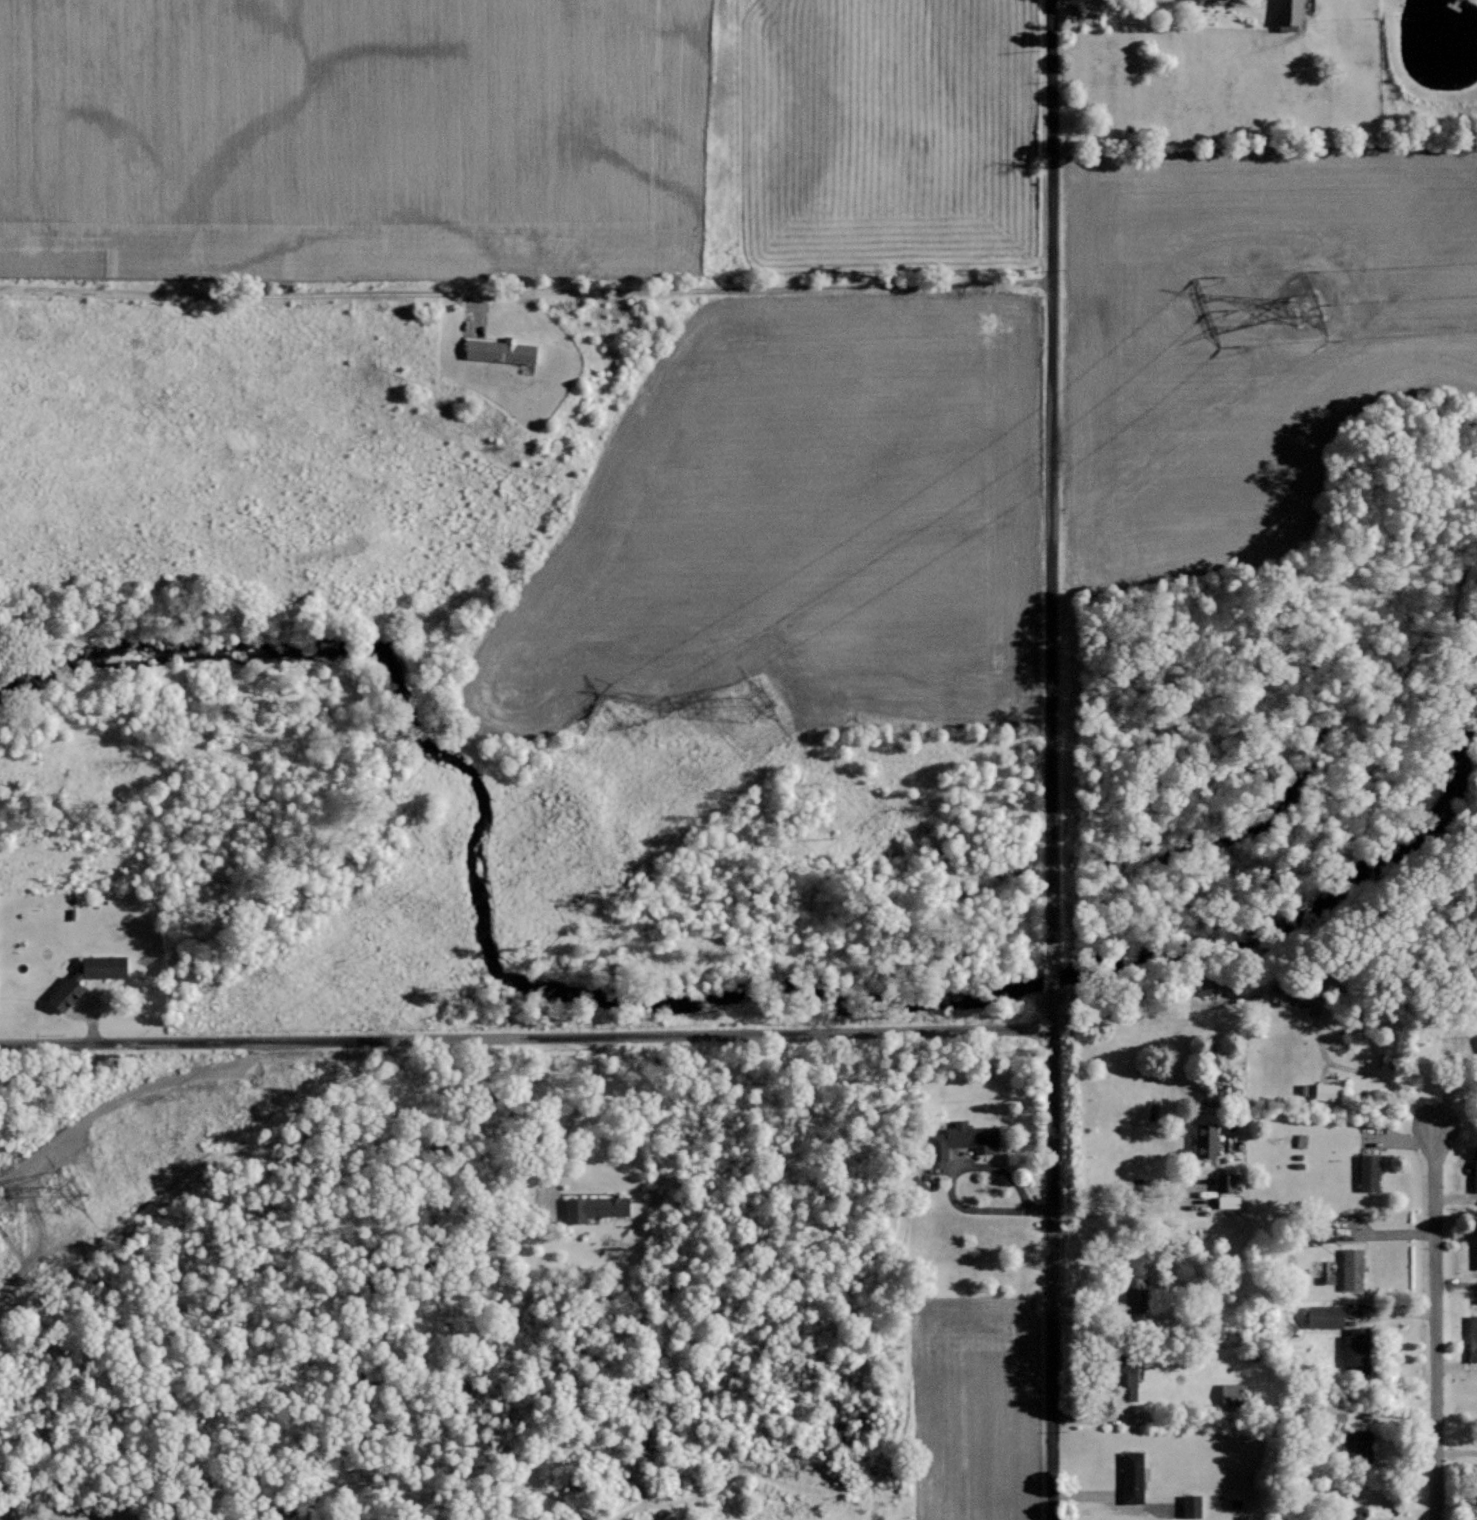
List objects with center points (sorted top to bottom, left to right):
building: (1285, 15)
building: (1069, 17)
road: (525, 284)
power tower: (1307, 294)
building: (498, 350)
road: (1051, 476)
power tower: (774, 693)
building: (83, 978)
road: (1051, 983)
building: (1204, 984)
building: (1293, 998)
road: (525, 1036)
building: (1476, 1039)
building: (1325, 1092)
building: (960, 1139)
building: (1203, 1140)
building: (1473, 1169)
building: (1366, 1172)
building: (1222, 1182)
building: (1226, 1201)
power tower: (57, 1203)
building: (592, 1208)
building: (1321, 1234)
building: (1475, 1250)
road: (1051, 1265)
building: (1349, 1269)
building: (1131, 1284)
building: (1322, 1316)
road: (1435, 1324)
building: (1471, 1339)
building: (1353, 1351)
building: (1122, 1381)
building: (1355, 1440)
road: (1230, 1462)
building: (1130, 1476)
building: (1189, 1505)
building: (1353, 1515)

